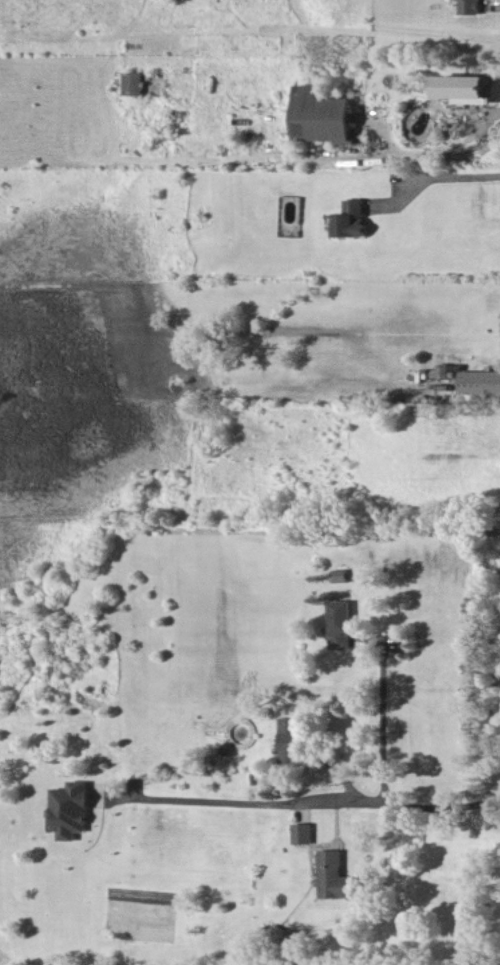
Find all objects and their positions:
building: (477, 8)
building: (138, 86)
road: (428, 151)
road: (455, 176)
building: (484, 385)
building: (345, 627)
road: (380, 720)
building: (293, 741)
road: (231, 801)
road: (424, 805)
building: (77, 812)
building: (335, 876)

